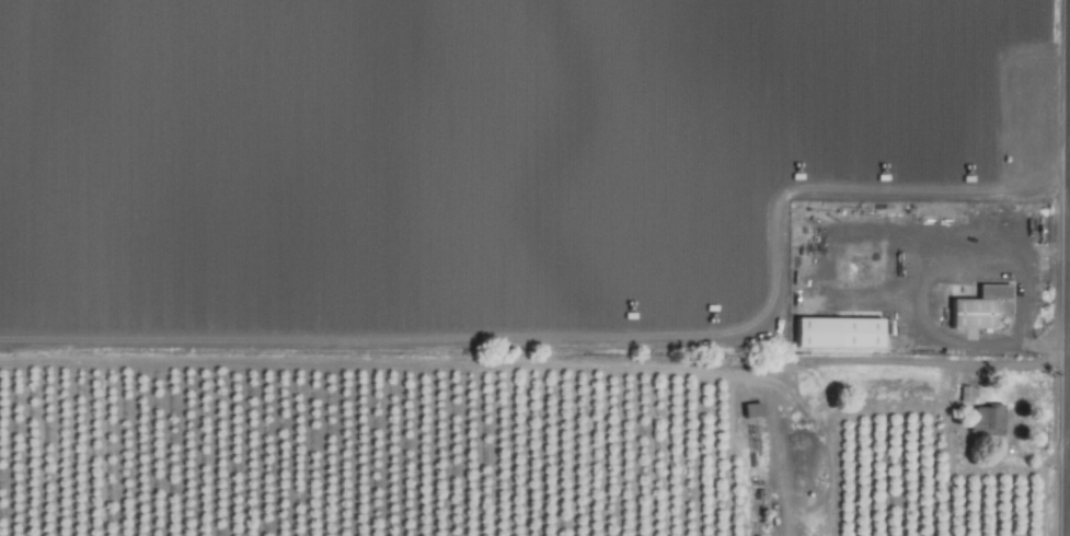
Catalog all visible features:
road: (1046, 233)
road: (825, 238)
road: (911, 269)
building: (979, 306)
building: (837, 331)
road: (925, 368)
road: (1068, 384)
building: (750, 409)
building: (986, 420)
road: (773, 452)

